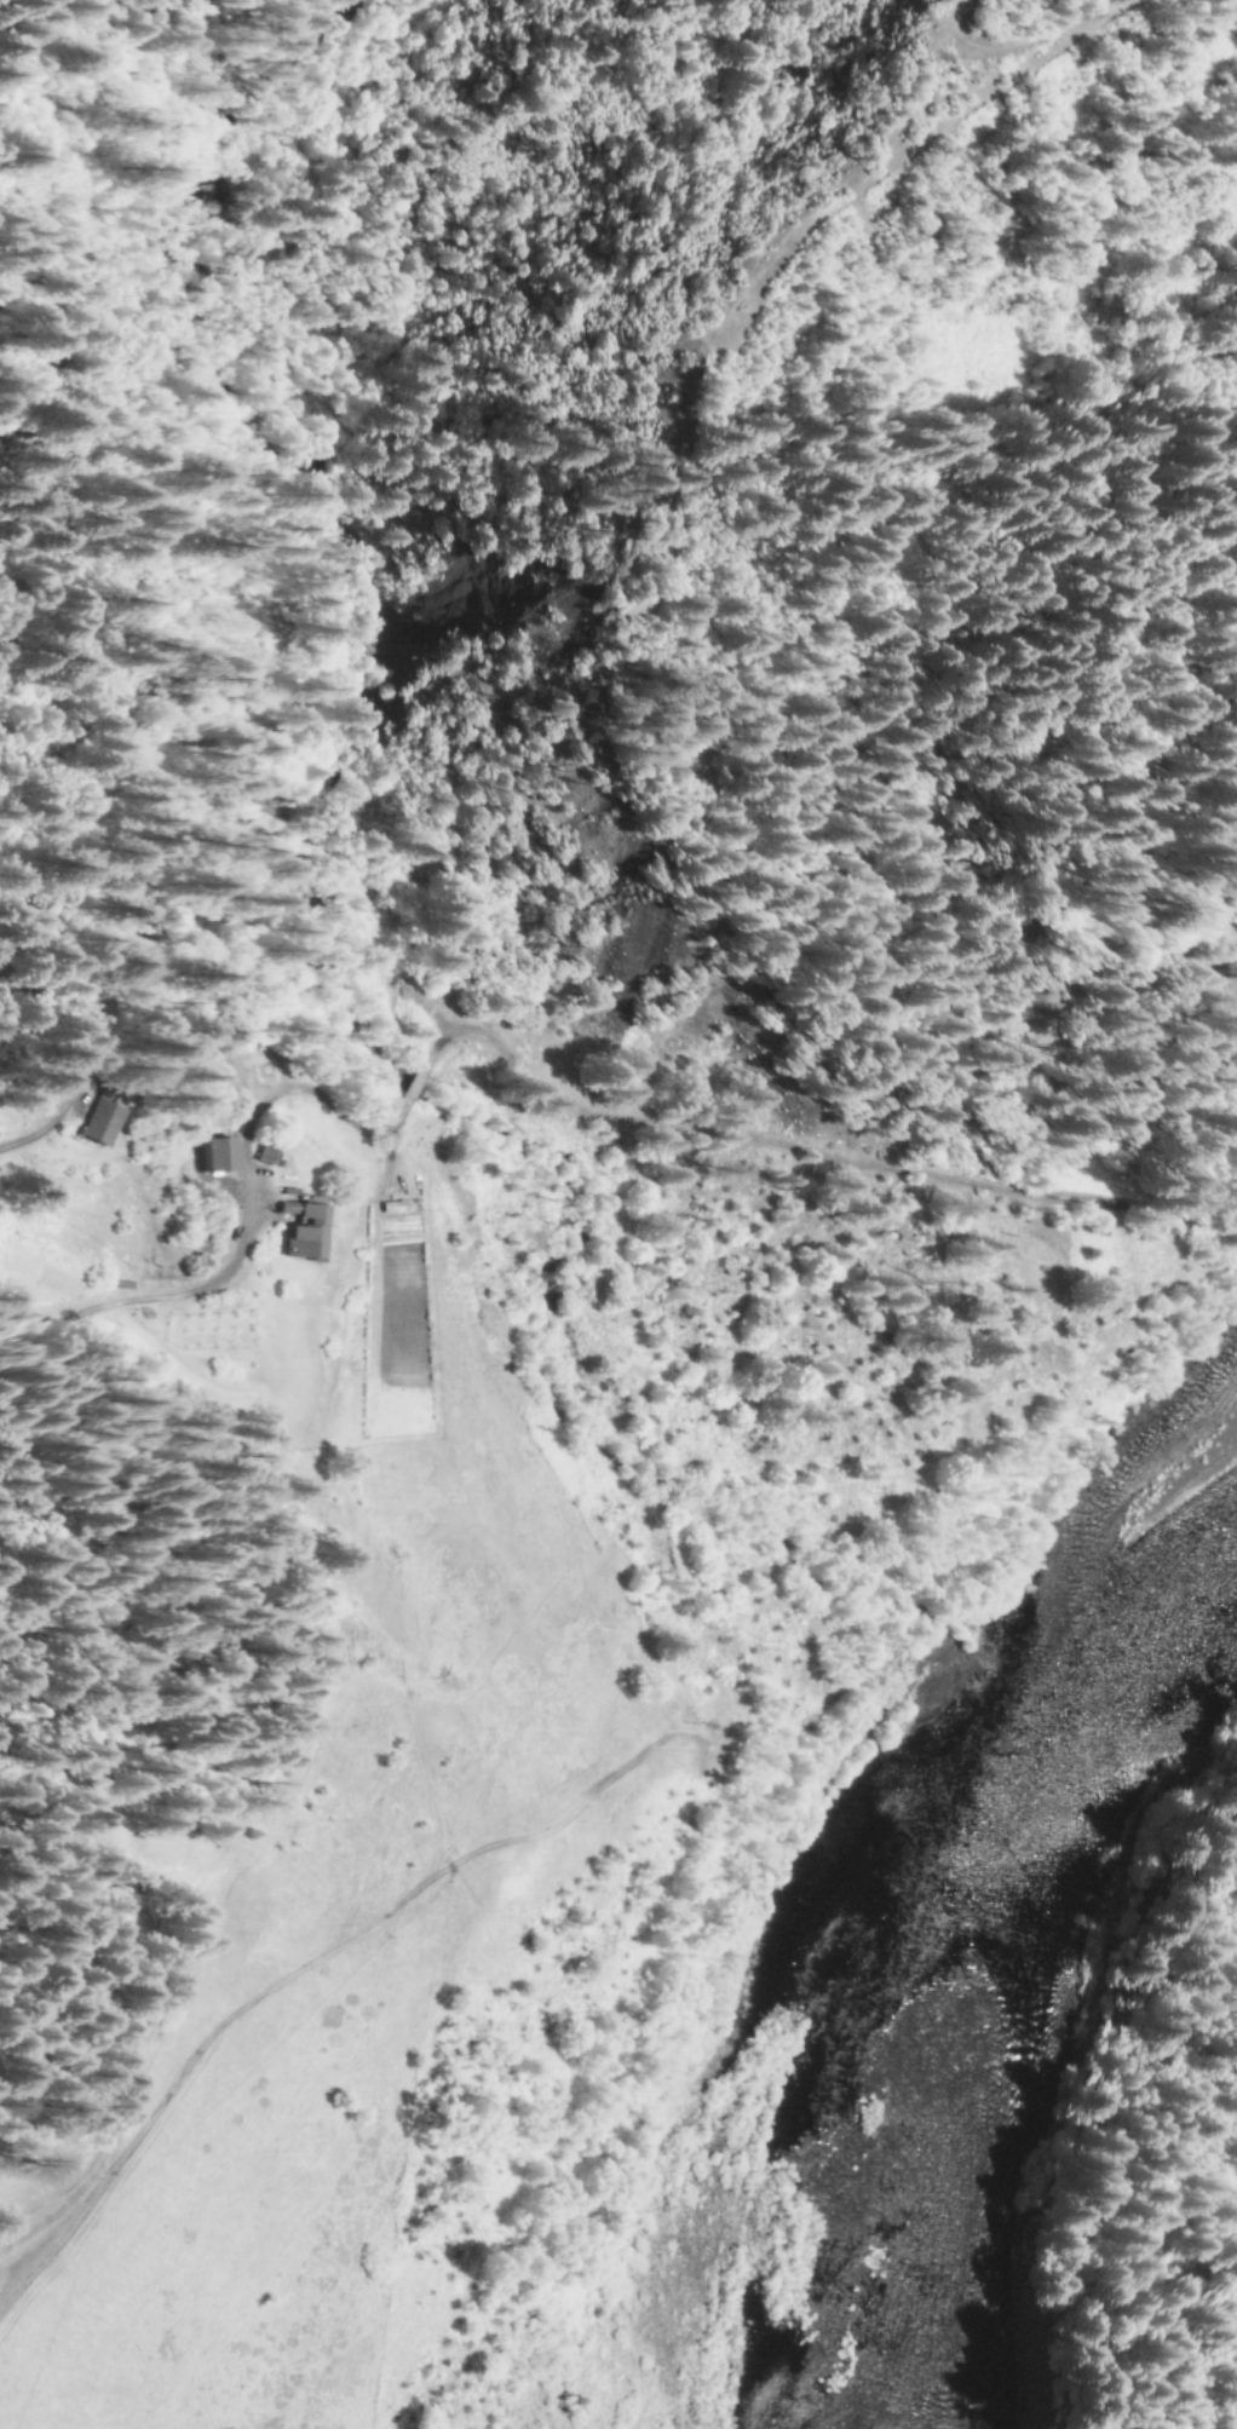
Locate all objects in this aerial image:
building: (223, 1072)
building: (96, 1124)
building: (215, 1156)
building: (261, 1158)
road: (916, 1216)
building: (300, 1236)
road: (154, 1294)
road: (662, 1491)
road: (287, 1784)
river: (967, 1949)
road: (307, 1953)

